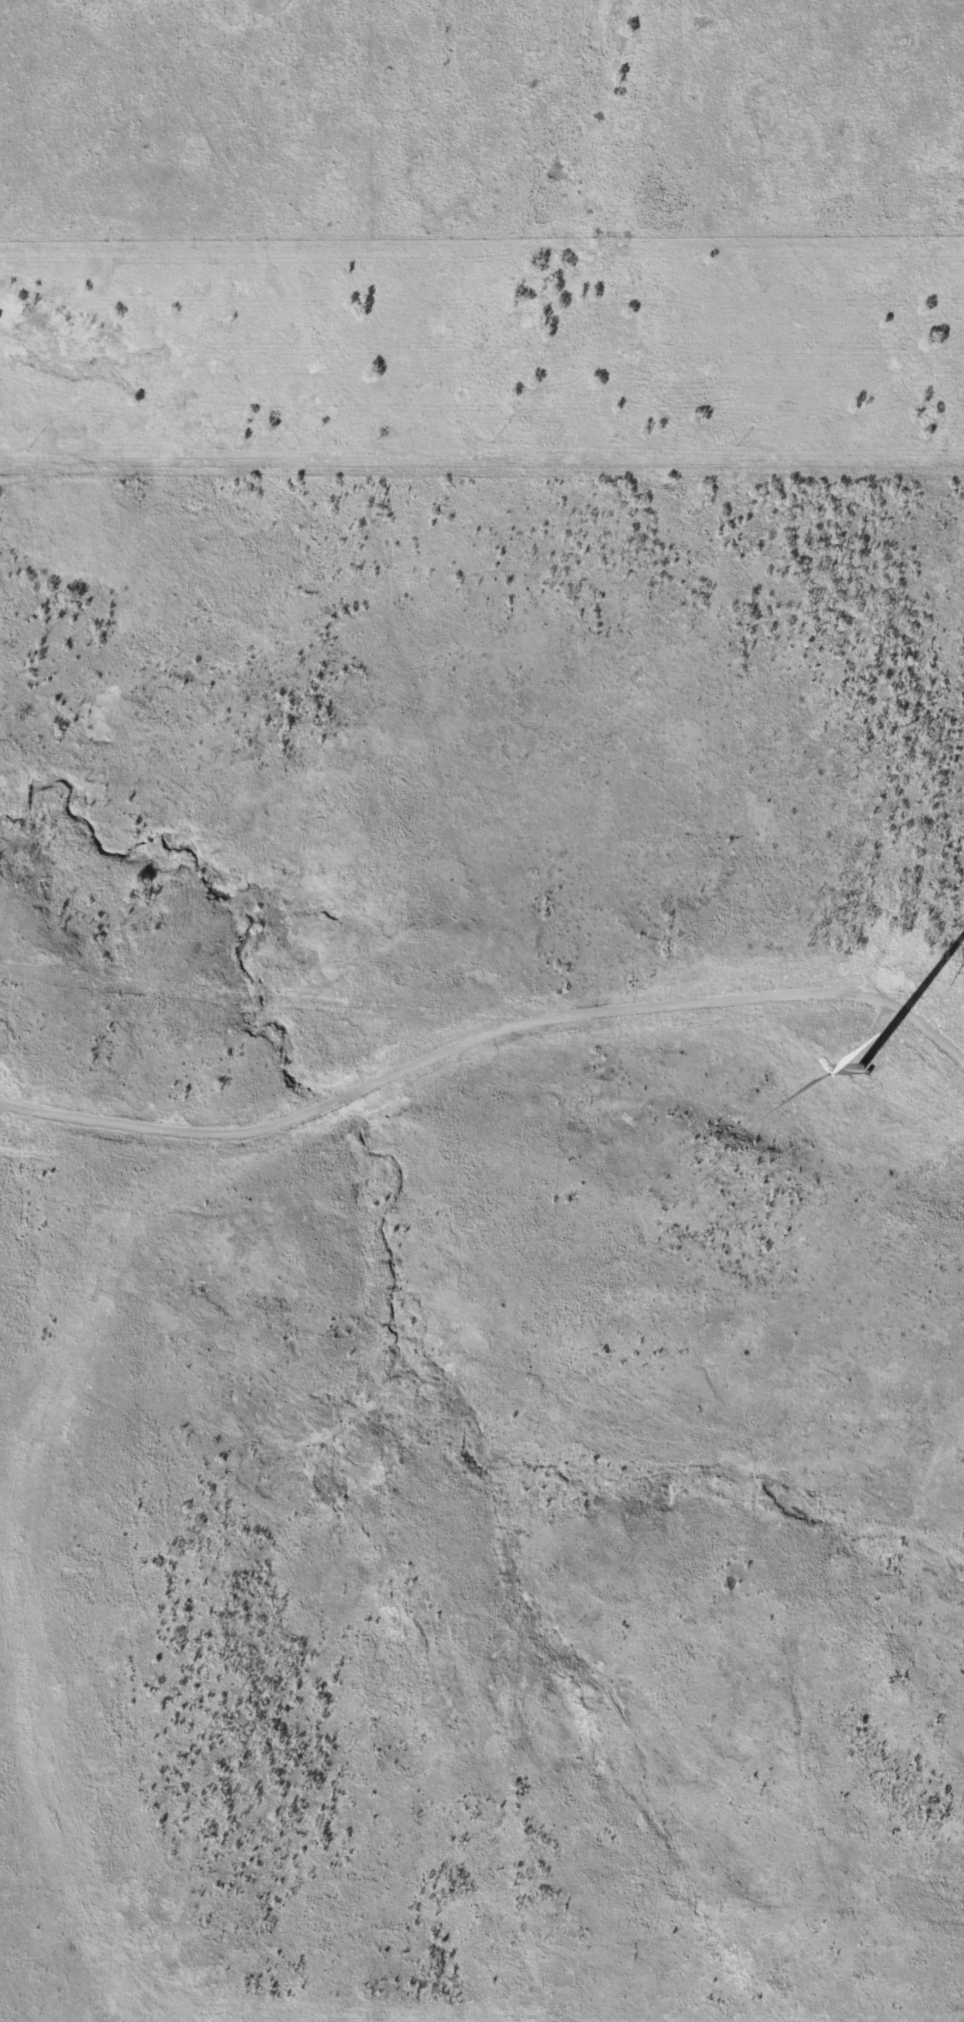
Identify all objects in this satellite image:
wind turbine: (862, 1068)
road: (551, 1915)

